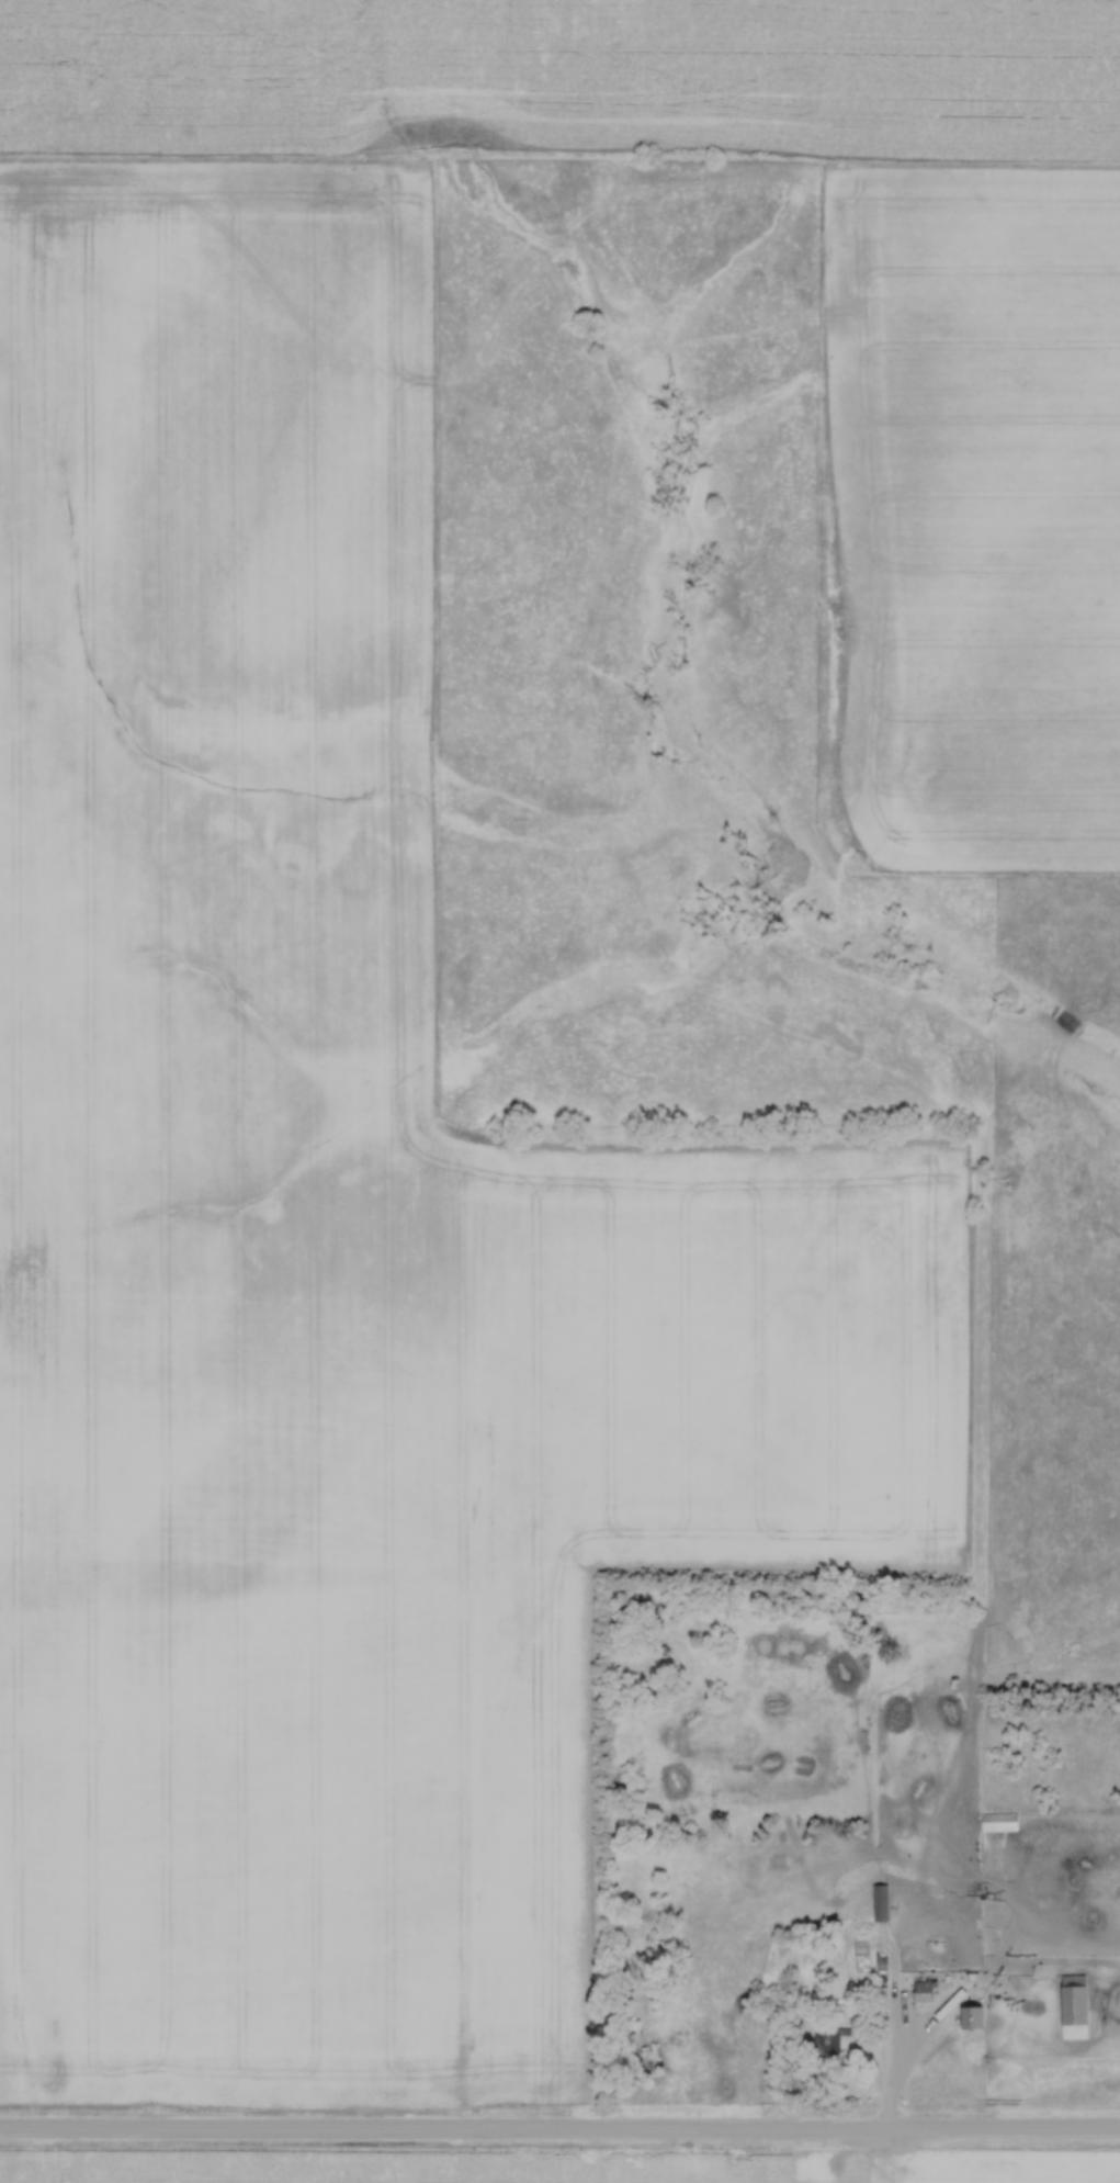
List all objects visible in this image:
building: (999, 1822)
building: (880, 1902)
building: (924, 1991)
building: (1075, 2006)
building: (974, 2018)
building: (836, 2040)
road: (896, 2063)
road: (559, 2127)

